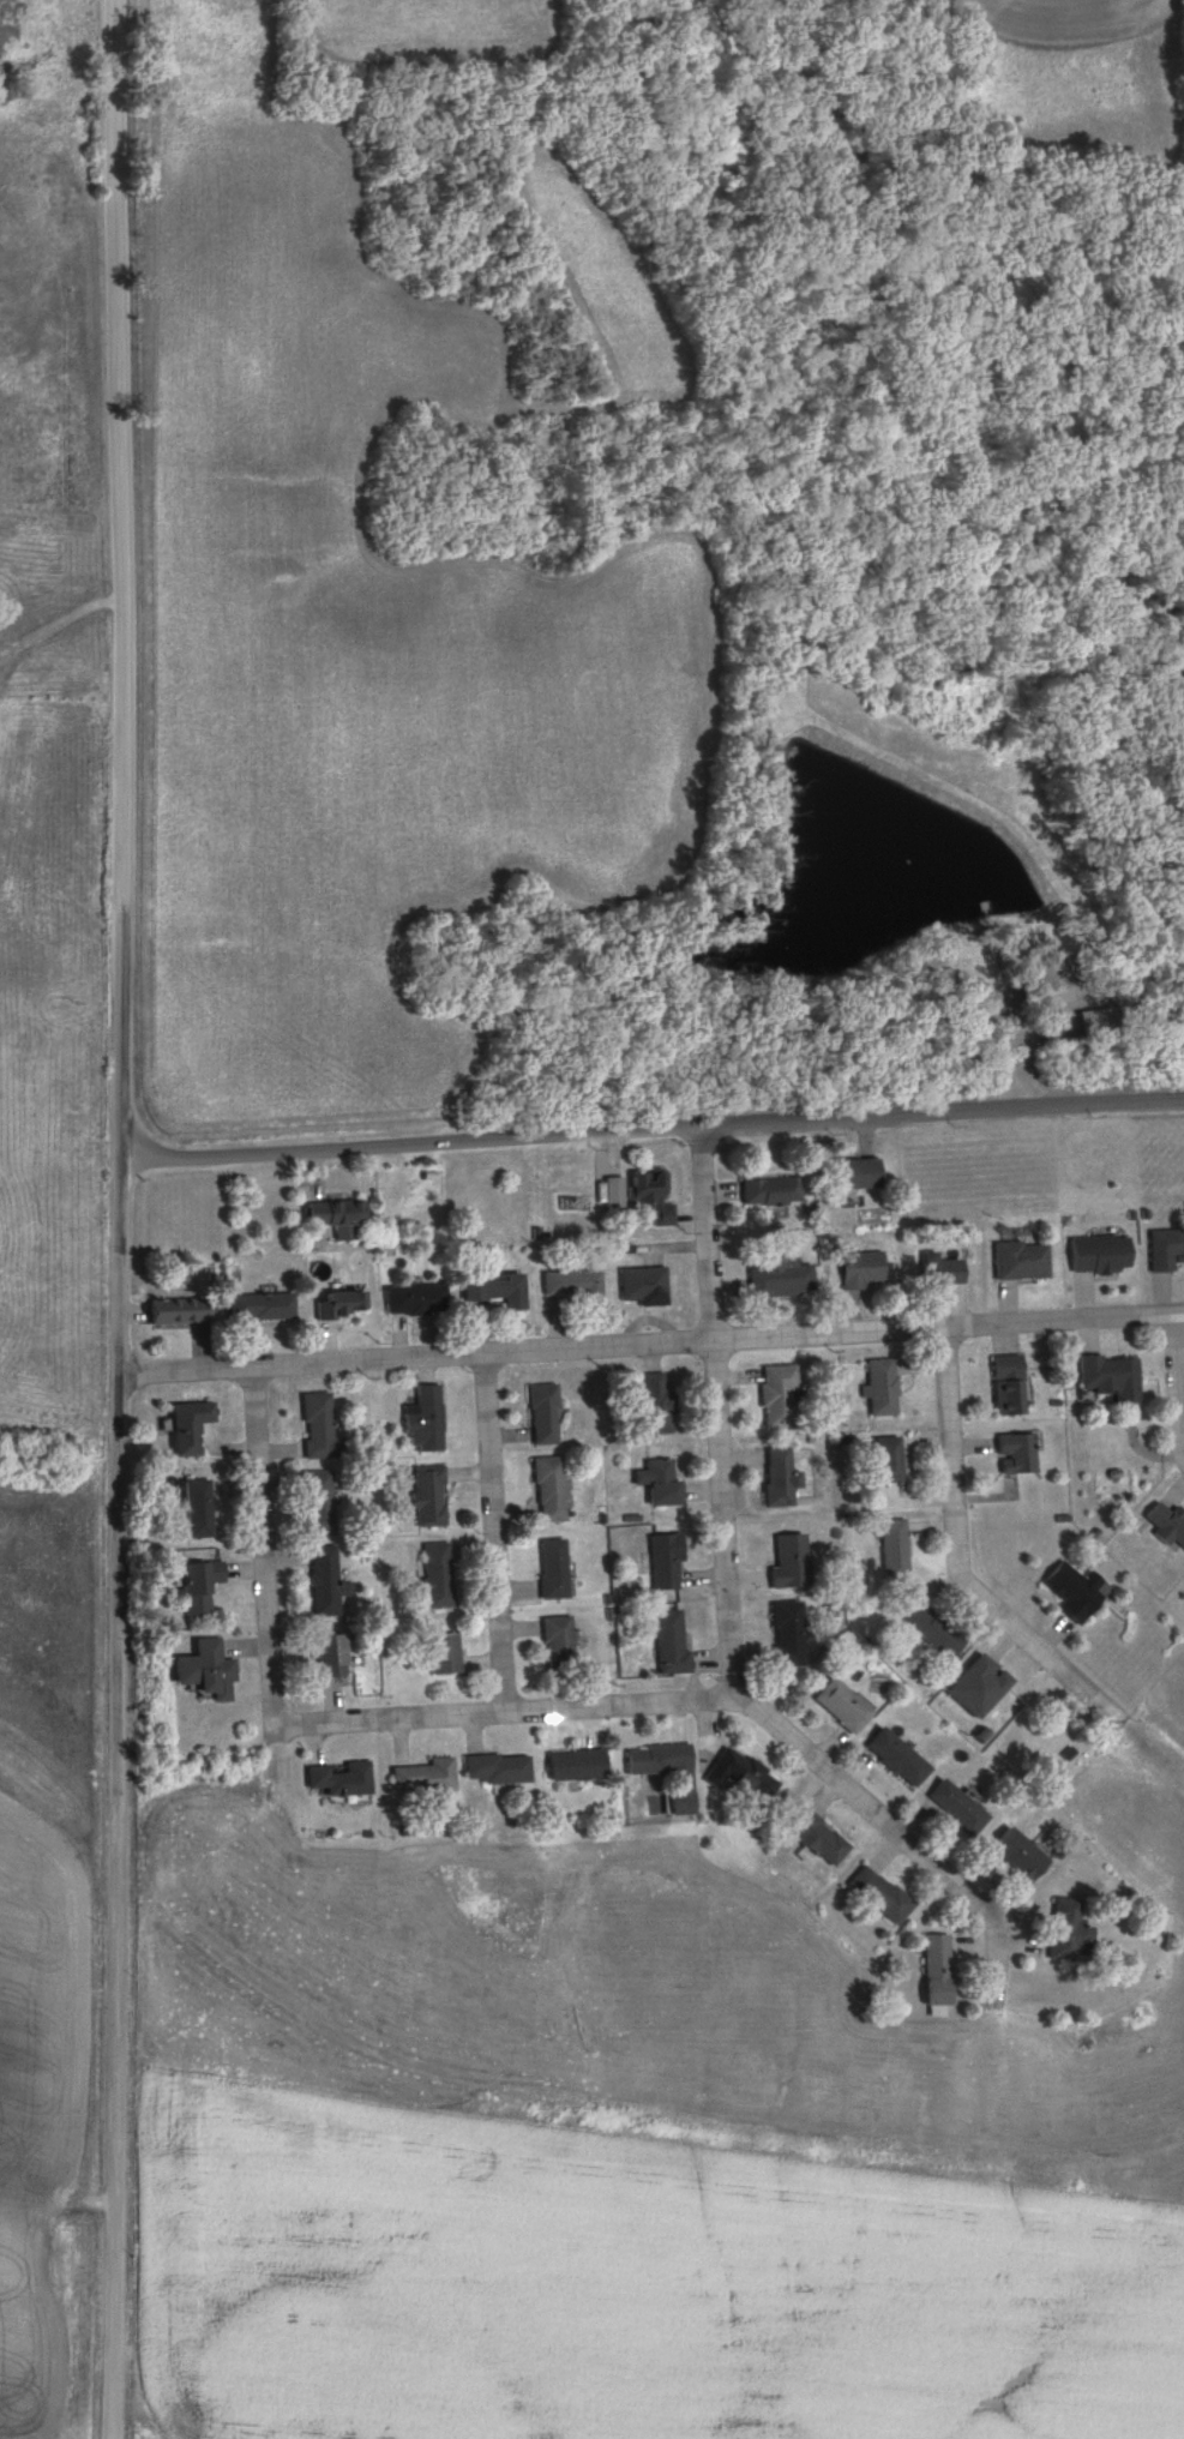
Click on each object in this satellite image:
crop: (435, 29)
crop: (1083, 70)
crop: (596, 293)
crop: (365, 655)
road: (656, 1128)
building: (863, 1173)
building: (774, 1191)
building: (655, 1194)
building: (342, 1217)
road: (128, 1219)
building: (1162, 1250)
building: (1094, 1256)
building: (1017, 1261)
building: (865, 1269)
building: (949, 1272)
building: (782, 1276)
building: (576, 1282)
building: (647, 1284)
building: (499, 1290)
building: (420, 1300)
building: (345, 1305)
building: (264, 1306)
building: (186, 1311)
road: (654, 1345)
road: (1178, 1375)
building: (1106, 1378)
building: (1011, 1386)
building: (883, 1392)
building: (783, 1395)
building: (661, 1401)
building: (546, 1413)
building: (427, 1418)
building: (193, 1426)
building: (323, 1428)
building: (1020, 1453)
building: (891, 1460)
building: (785, 1477)
building: (663, 1483)
building: (552, 1489)
building: (431, 1496)
building: (320, 1502)
building: (202, 1508)
building: (1162, 1524)
road: (497, 1533)
building: (896, 1540)
road: (266, 1544)
road: (956, 1555)
building: (671, 1560)
building: (793, 1561)
building: (557, 1569)
building: (440, 1574)
building: (329, 1582)
building: (203, 1586)
building: (1078, 1590)
road: (731, 1620)
building: (939, 1633)
building: (793, 1634)
building: (561, 1642)
building: (675, 1644)
building: (449, 1653)
building: (336, 1656)
building: (211, 1671)
building: (985, 1686)
building: (848, 1706)
road: (513, 1711)
building: (902, 1758)
building: (662, 1759)
building: (581, 1765)
building: (503, 1770)
building: (746, 1774)
building: (429, 1778)
building: (345, 1779)
building: (962, 1808)
crop: (49, 1830)
building: (822, 1837)
building: (1023, 1854)
building: (884, 1894)
building: (1071, 1929)
building: (940, 1970)
crop: (615, 2279)
crop: (25, 2341)

